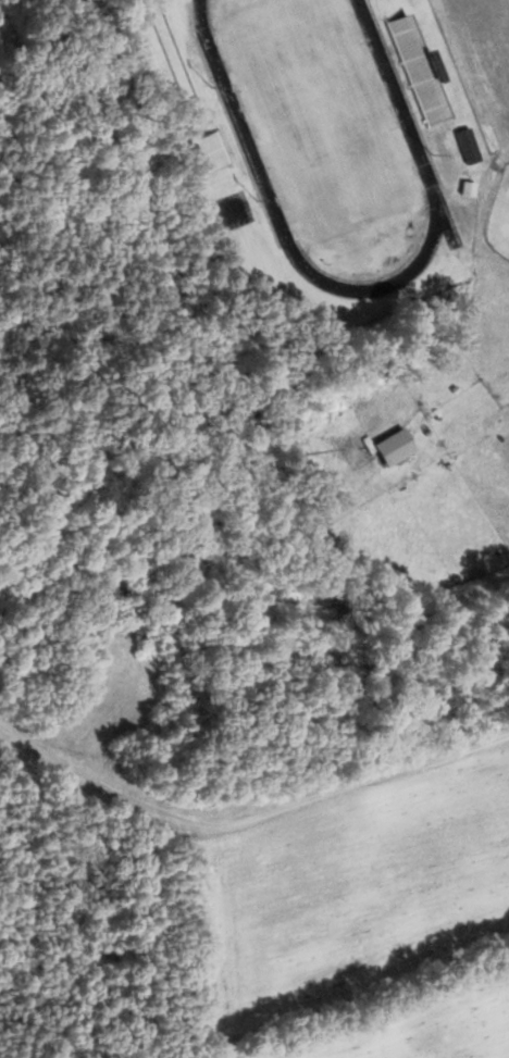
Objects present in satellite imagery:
building: (417, 67)
building: (468, 145)
building: (210, 150)
building: (437, 387)

